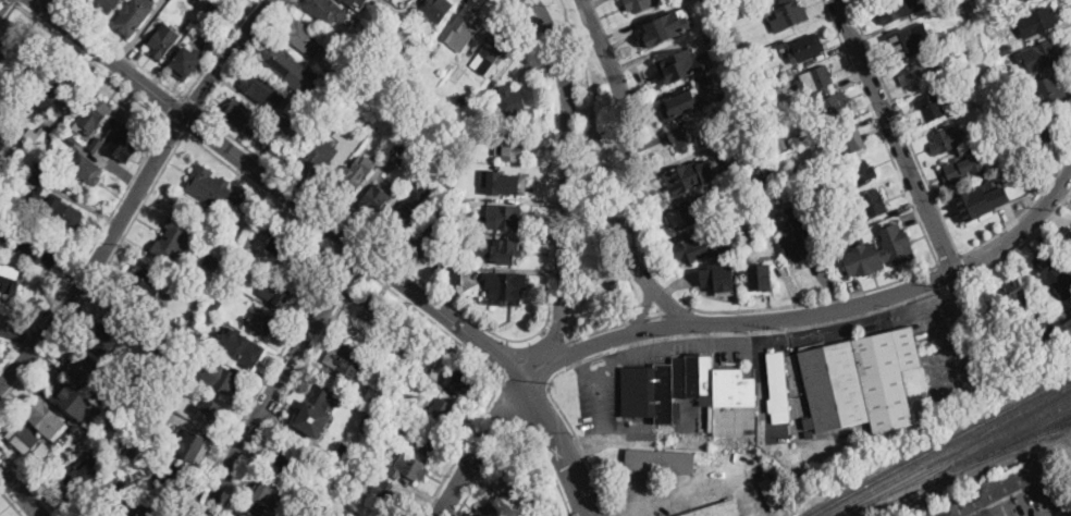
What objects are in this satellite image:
building: (1025, 0)
road: (13, 1)
building: (352, 1)
road: (1, 2)
road: (57, 3)
road: (64, 3)
building: (936, 3)
building: (978, 3)
building: (641, 4)
road: (49, 5)
building: (104, 5)
building: (219, 7)
building: (433, 10)
building: (325, 11)
building: (890, 11)
road: (7, 12)
building: (724, 13)
building: (786, 15)
building: (135, 16)
building: (1042, 20)
building: (665, 26)
building: (463, 27)
building: (945, 32)
building: (303, 36)
building: (736, 39)
building: (714, 40)
building: (163, 41)
building: (908, 44)
building: (804, 48)
road: (221, 49)
building: (1005, 50)
building: (11, 52)
road: (123, 52)
building: (491, 52)
building: (1047, 53)
building: (368, 54)
building: (430, 54)
road: (91, 57)
building: (186, 62)
building: (380, 63)
building: (284, 64)
building: (678, 64)
building: (926, 73)
building: (457, 75)
building: (1005, 77)
building: (346, 78)
building: (815, 79)
building: (763, 81)
building: (703, 82)
building: (50, 87)
building: (261, 88)
building: (335, 91)
building: (1048, 91)
building: (765, 97)
building: (461, 99)
building: (512, 101)
building: (684, 103)
road: (175, 107)
road: (192, 107)
building: (932, 108)
building: (1014, 108)
building: (833, 109)
building: (94, 115)
building: (244, 118)
building: (283, 120)
building: (750, 120)
road: (176, 123)
road: (194, 123)
road: (192, 125)
building: (774, 127)
road: (882, 132)
building: (1042, 134)
building: (689, 135)
building: (761, 135)
road: (895, 135)
building: (36, 136)
building: (4, 138)
building: (71, 138)
building: (948, 139)
building: (780, 142)
building: (849, 143)
building: (126, 144)
building: (97, 145)
building: (405, 145)
building: (515, 149)
building: (1002, 156)
building: (316, 160)
building: (48, 168)
road: (153, 168)
building: (87, 169)
building: (961, 169)
road: (625, 171)
building: (39, 173)
building: (863, 173)
building: (686, 176)
building: (761, 177)
building: (812, 181)
building: (346, 182)
building: (504, 182)
road: (255, 185)
building: (208, 187)
road: (565, 187)
building: (747, 197)
park: (593, 200)
building: (374, 201)
building: (414, 201)
building: (980, 201)
road: (936, 202)
building: (872, 204)
building: (463, 205)
building: (257, 206)
road: (323, 206)
building: (772, 208)
building: (4, 209)
building: (690, 213)
building: (64, 214)
building: (504, 217)
building: (401, 224)
building: (747, 234)
building: (173, 238)
building: (460, 238)
road: (97, 241)
building: (249, 242)
building: (1066, 242)
building: (41, 243)
building: (428, 243)
building: (795, 243)
building: (13, 245)
building: (692, 249)
building: (505, 250)
building: (881, 250)
building: (292, 253)
road: (354, 259)
road: (949, 261)
building: (211, 262)
building: (1052, 272)
building: (454, 274)
building: (718, 275)
building: (760, 278)
building: (10, 279)
building: (145, 286)
building: (501, 287)
building: (278, 291)
building: (1014, 295)
road: (816, 302)
building: (218, 305)
building: (373, 308)
road: (441, 310)
road: (645, 310)
road: (678, 311)
road: (818, 311)
road: (337, 312)
road: (657, 317)
road: (640, 320)
building: (262, 322)
building: (177, 324)
building: (1045, 328)
road: (599, 332)
road: (755, 333)
road: (21, 334)
building: (110, 334)
road: (29, 336)
road: (556, 336)
building: (196, 337)
building: (190, 345)
building: (241, 347)
road: (19, 349)
building: (164, 349)
road: (607, 355)
building: (346, 357)
road: (503, 364)
road: (586, 364)
road: (22, 366)
building: (83, 371)
building: (220, 378)
building: (114, 379)
road: (280, 381)
building: (460, 381)
building: (861, 381)
building: (777, 382)
building: (693, 394)
building: (401, 398)
building: (376, 400)
building: (77, 401)
road: (603, 401)
parking lot: (605, 404)
road: (509, 406)
building: (133, 407)
building: (208, 410)
building: (441, 410)
building: (316, 413)
building: (45, 416)
building: (147, 420)
road: (518, 423)
railway: (1055, 430)
building: (81, 431)
building: (139, 432)
building: (23, 438)
railway: (1022, 439)
building: (431, 442)
road: (483, 443)
road: (561, 443)
building: (193, 445)
railway: (941, 445)
road: (587, 446)
building: (60, 452)
building: (132, 452)
road: (461, 452)
railway: (951, 452)
building: (347, 453)
railway: (964, 454)
building: (661, 460)
building: (103, 462)
building: (288, 462)
building: (51, 466)
building: (409, 467)
building: (84, 469)
building: (123, 469)
railway: (956, 470)
building: (78, 479)
road: (29, 480)
building: (173, 480)
building: (115, 483)
building: (507, 483)
building: (267, 491)
building: (992, 491)
road: (21, 492)
road: (680, 493)
building: (773, 495)
building: (323, 496)
building: (393, 499)
road: (11, 502)
parking lot: (1030, 504)
building: (489, 509)
building: (717, 509)
building: (97, 512)
building: (151, 513)
building: (247, 514)
building: (330, 514)
building: (532, 515)

